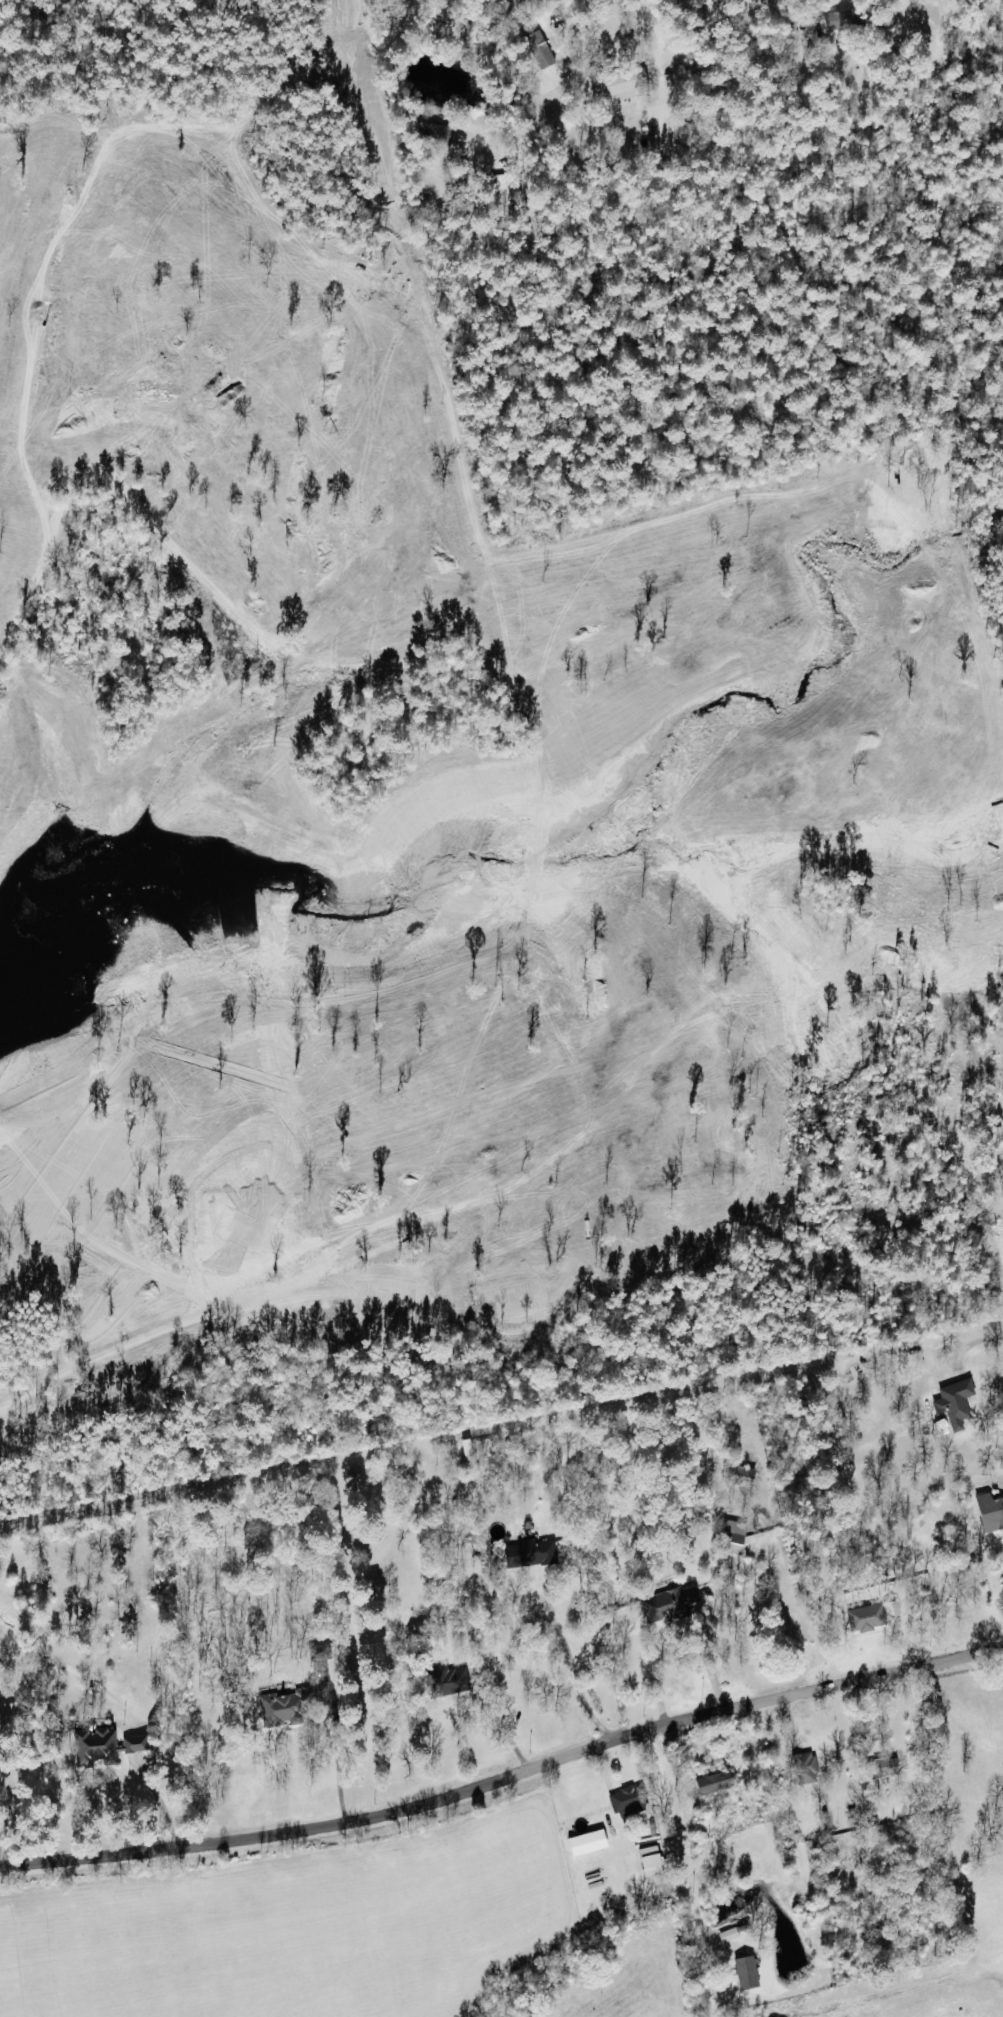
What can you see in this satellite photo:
building: (836, 20)
building: (539, 50)
building: (623, 84)
building: (954, 1403)
building: (476, 1448)
road: (598, 1474)
building: (740, 1475)
building: (990, 1511)
building: (731, 1537)
building: (530, 1553)
building: (1002, 1579)
building: (668, 1600)
building: (891, 1608)
building: (865, 1618)
building: (321, 1652)
building: (450, 1679)
building: (286, 1707)
building: (106, 1745)
building: (804, 1768)
building: (882, 1768)
road: (506, 1781)
building: (714, 1783)
building: (628, 1801)
building: (586, 1843)
building: (649, 1861)
road: (684, 1874)
building: (746, 1972)

